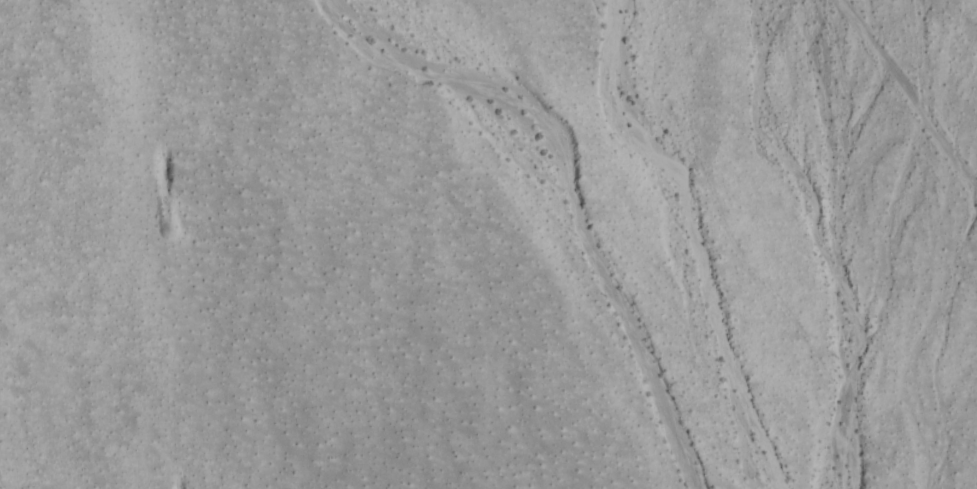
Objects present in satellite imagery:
road: (890, 110)

